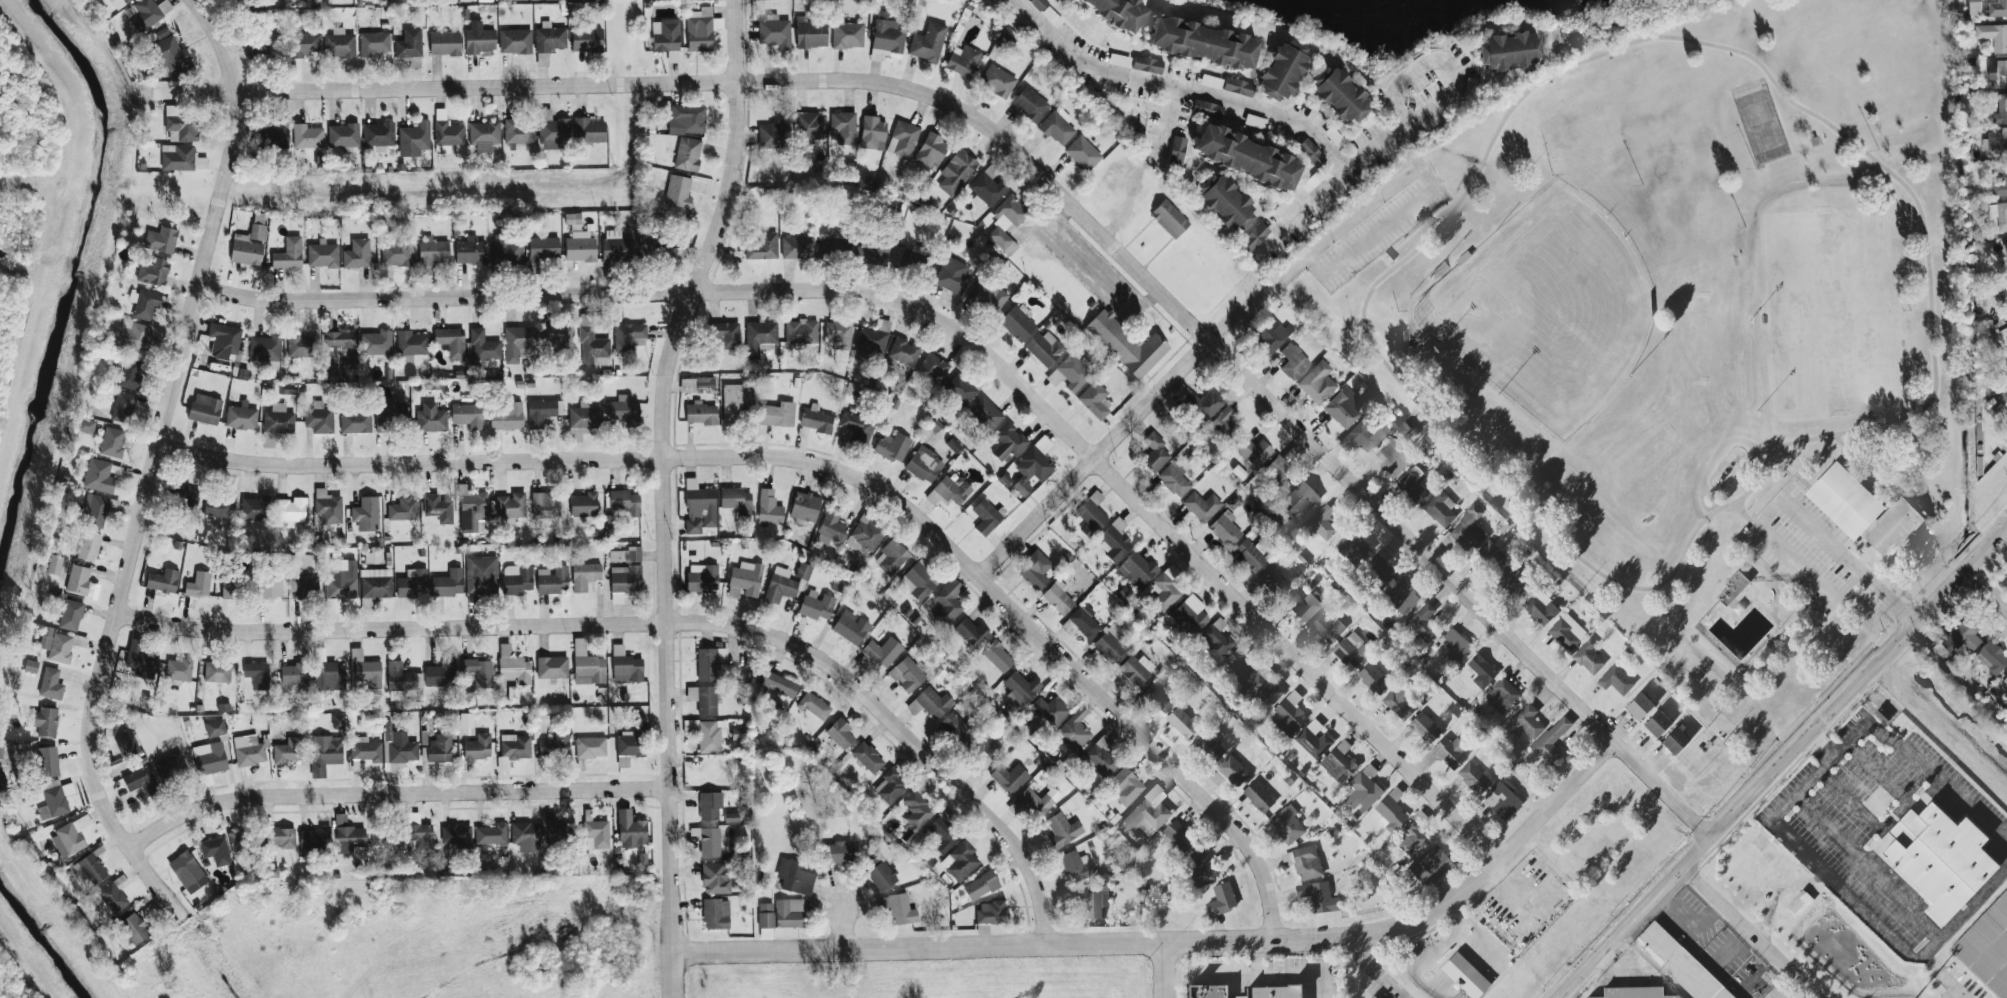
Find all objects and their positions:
building: (118, 3)
building: (1037, 4)
building: (1998, 9)
building: (1118, 11)
building: (773, 32)
building: (809, 34)
building: (1993, 35)
building: (847, 36)
building: (888, 36)
building: (549, 38)
building: (479, 39)
building: (586, 40)
building: (514, 41)
building: (927, 43)
building: (373, 44)
building: (408, 44)
building: (444, 44)
building: (1202, 44)
building: (303, 45)
building: (338, 45)
building: (259, 51)
building: (1508, 51)
building: (169, 53)
building: (542, 60)
building: (962, 61)
building: (1147, 65)
road: (1413, 70)
building: (1283, 71)
building: (1999, 75)
building: (997, 81)
building: (1238, 87)
road: (1170, 93)
building: (1339, 95)
building: (1029, 104)
building: (1208, 110)
building: (2001, 110)
building: (1110, 114)
building: (686, 119)
building: (179, 125)
building: (810, 126)
park: (1762, 126)
building: (843, 127)
building: (1057, 127)
building: (588, 130)
building: (553, 131)
building: (518, 132)
building: (872, 133)
building: (447, 134)
building: (342, 136)
building: (378, 136)
building: (483, 136)
building: (771, 136)
building: (274, 137)
building: (306, 137)
building: (902, 139)
building: (413, 140)
road: (1848, 140)
building: (1996, 142)
street lamp: (1877, 151)
building: (930, 152)
building: (1176, 152)
building: (1310, 152)
building: (687, 154)
building: (1082, 154)
building: (1246, 157)
building: (177, 158)
street lamp: (1753, 166)
building: (956, 173)
building: (2001, 184)
building: (986, 185)
street lamp: (1641, 185)
road: (1050, 187)
building: (677, 192)
road: (1386, 197)
building: (1225, 203)
road: (1300, 213)
building: (1999, 215)
building: (1169, 219)
street lamp: (1902, 219)
building: (246, 222)
building: (1006, 223)
street lamp: (1744, 228)
building: (257, 232)
building: (612, 234)
parking lot: (1377, 235)
street lamp: (1625, 235)
building: (1254, 237)
building: (161, 240)
building: (652, 246)
building: (761, 246)
building: (579, 247)
building: (796, 248)
building: (832, 248)
building: (543, 249)
building: (2005, 249)
building: (506, 250)
building: (615, 250)
building: (470, 251)
building: (245, 253)
building: (396, 253)
building: (433, 253)
building: (869, 253)
building: (356, 254)
building: (288, 255)
building: (322, 256)
building: (908, 260)
building: (153, 272)
building: (951, 275)
park: (13, 280)
building: (2005, 290)
building: (987, 297)
building: (144, 304)
park: (1546, 311)
park: (1829, 314)
street lamp: (1750, 320)
building: (1017, 322)
road: (949, 329)
building: (800, 332)
park: (1683, 332)
building: (1269, 335)
building: (131, 336)
building: (627, 336)
building: (723, 336)
building: (837, 336)
building: (556, 338)
building: (759, 338)
building: (872, 339)
building: (223, 341)
building: (450, 342)
building: (375, 343)
building: (517, 343)
building: (301, 344)
building: (342, 344)
building: (411, 344)
building: (1126, 345)
building: (483, 347)
building: (265, 348)
building: (1044, 349)
building: (903, 352)
building: (1292, 362)
building: (932, 370)
building: (127, 372)
building: (1069, 374)
street lamp: (1630, 378)
building: (1317, 383)
building: (696, 385)
building: (960, 390)
building: (2003, 397)
building: (1094, 400)
building: (1200, 402)
street lamp: (1914, 404)
building: (733, 406)
building: (123, 407)
building: (1344, 408)
building: (204, 409)
building: (623, 410)
street lamp: (1757, 411)
building: (541, 412)
building: (700, 413)
building: (985, 413)
building: (388, 414)
building: (777, 415)
building: (467, 416)
building: (505, 416)
building: (583, 417)
building: (240, 418)
building: (318, 419)
building: (430, 419)
building: (815, 419)
building: (354, 423)
building: (1222, 423)
building: (85, 426)
building: (855, 429)
building: (112, 442)
building: (1008, 442)
building: (892, 447)
building: (1252, 451)
building: (1154, 453)
road: (1093, 459)
building: (1391, 460)
road: (825, 465)
building: (924, 465)
building: (1032, 465)
road: (1777, 465)
road: (149, 466)
road: (1493, 471)
building: (1279, 473)
building: (98, 477)
building: (1173, 479)
building: (1414, 485)
building: (948, 491)
road: (661, 493)
building: (185, 498)
building: (736, 501)
building: (1300, 501)
building: (623, 503)
road: (1789, 503)
building: (545, 505)
building: (583, 505)
building: (218, 506)
building: (1201, 506)
building: (768, 508)
building: (97, 509)
building: (254, 509)
building: (403, 509)
building: (437, 509)
building: (325, 510)
building: (699, 510)
building: (804, 510)
building: (1440, 510)
building: (472, 511)
building: (290, 512)
building: (1863, 512)
building: (366, 514)
building: (1090, 514)
building: (985, 518)
road: (1750, 518)
building: (1323, 524)
building: (830, 526)
building: (1224, 529)
building: (1468, 531)
building: (865, 534)
building: (1114, 541)
building: (88, 546)
building: (1354, 551)
building: (633, 554)
building: (1249, 555)
parking lot: (1812, 555)
building: (1492, 556)
building: (891, 558)
building: (54, 565)
building: (1382, 568)
building: (1136, 569)
building: (1034, 570)
building: (803, 571)
building: (481, 575)
building: (584, 576)
building: (702, 579)
building: (516, 580)
building: (551, 580)
building: (1274, 580)
building: (162, 581)
building: (744, 581)
building: (342, 582)
building: (623, 582)
building: (917, 582)
building: (80, 583)
building: (375, 584)
building: (412, 584)
building: (447, 584)
building: (1515, 584)
building: (197, 586)
building: (270, 587)
building: (304, 587)
building: (779, 587)
building: (1732, 588)
road: (1989, 588)
building: (229, 590)
building: (1164, 593)
building: (1057, 597)
building: (1404, 598)
building: (947, 602)
building: (816, 605)
building: (1302, 605)
building: (1541, 608)
building: (70, 615)
building: (1189, 616)
building: (1084, 622)
road: (656, 623)
building: (1422, 624)
building: (850, 627)
building: (1327, 627)
building: (1567, 632)
building: (971, 634)
building: (1214, 639)
building: (1959, 642)
building: (56, 645)
building: (1108, 647)
building: (1457, 648)
building: (1352, 651)
building: (882, 652)
building: (997, 657)
building: (1589, 658)
building: (1992, 658)
building: (708, 663)
building: (141, 664)
building: (513, 667)
building: (625, 667)
building: (1239, 667)
building: (551, 668)
building: (587, 668)
building: (1134, 670)
building: (216, 672)
building: (363, 672)
building: (478, 672)
building: (1482, 672)
building: (292, 674)
building: (440, 674)
building: (907, 674)
building: (256, 675)
building: (328, 676)
building: (401, 678)
building: (1373, 680)
building: (1617, 681)
building: (2005, 681)
building: (50, 684)
building: (777, 686)
building: (1020, 689)
building: (1264, 691)
building: (1159, 697)
building: (1502, 697)
building: (703, 699)
building: (933, 702)
building: (1400, 703)
building: (813, 706)
building: (1640, 707)
building: (1049, 711)
building: (1289, 715)
building: (465, 721)
building: (44, 722)
building: (1182, 723)
building: (1526, 723)
building: (1658, 725)
building: (214, 728)
building: (954, 728)
building: (1425, 729)
building: (1073, 731)
building: (737, 734)
building: (840, 734)
building: (708, 735)
building: (1312, 741)
building: (1551, 742)
building: (1676, 742)
building: (1210, 744)
building: (628, 745)
building: (983, 745)
building: (554, 746)
building: (127, 747)
building: (514, 747)
building: (398, 748)
building: (477, 748)
building: (589, 748)
road: (1823, 748)
building: (438, 749)
building: (366, 750)
building: (248, 751)
building: (288, 751)
building: (1450, 752)
building: (325, 753)
building: (867, 757)
building: (209, 758)
building: (1100, 760)
building: (47, 762)
building: (1339, 763)
road: (1784, 766)
building: (171, 769)
building: (1233, 771)
building: (1009, 778)
building: (1474, 779)
building: (140, 782)
building: (889, 787)
building: (1124, 787)
building: (1362, 791)
road: (391, 795)
building: (1259, 798)
building: (1502, 799)
building: (1036, 802)
building: (52, 804)
building: (709, 806)
building: (916, 810)
building: (1391, 812)
building: (1148, 813)
road: (1895, 816)
road: (1776, 822)
building: (1288, 825)
building: (631, 830)
building: (943, 831)
building: (1061, 831)
building: (558, 832)
building: (419, 834)
building: (490, 835)
building: (595, 835)
building: (455, 836)
building: (1179, 836)
building: (70, 837)
building: (349, 837)
building: (525, 837)
building: (281, 838)
building: (313, 838)
building: (379, 839)
building: (1412, 839)
building: (240, 841)
building: (706, 841)
building: (215, 851)
building: (839, 853)
building: (1938, 859)
building: (960, 862)
building: (1304, 863)
road: (1871, 865)
building: (1075, 867)
building: (1431, 867)
building: (90, 869)
building: (1200, 869)
building: (187, 872)
building: (879, 874)
building: (795, 876)
building: (714, 879)
building: (980, 886)
building: (113, 895)
building: (1319, 897)
building: (1222, 901)
building: (1093, 902)
building: (1800, 903)
building: (897, 909)
building: (991, 912)
building: (789, 913)
building: (715, 914)
building: (765, 916)
road: (1736, 917)
building: (133, 929)
road: (844, 929)
building: (982, 929)
building: (765, 934)
road: (1181, 943)
building: (1986, 949)
road: (1257, 959)
building: (1679, 964)
road: (1165, 970)
road: (1372, 972)
park: (14, 973)
road: (1253, 977)
building: (1465, 977)
road: (1952, 980)
road: (1803, 982)
building: (1208, 992)
building: (1273, 992)
building: (1635, 993)
building: (1373, 997)

